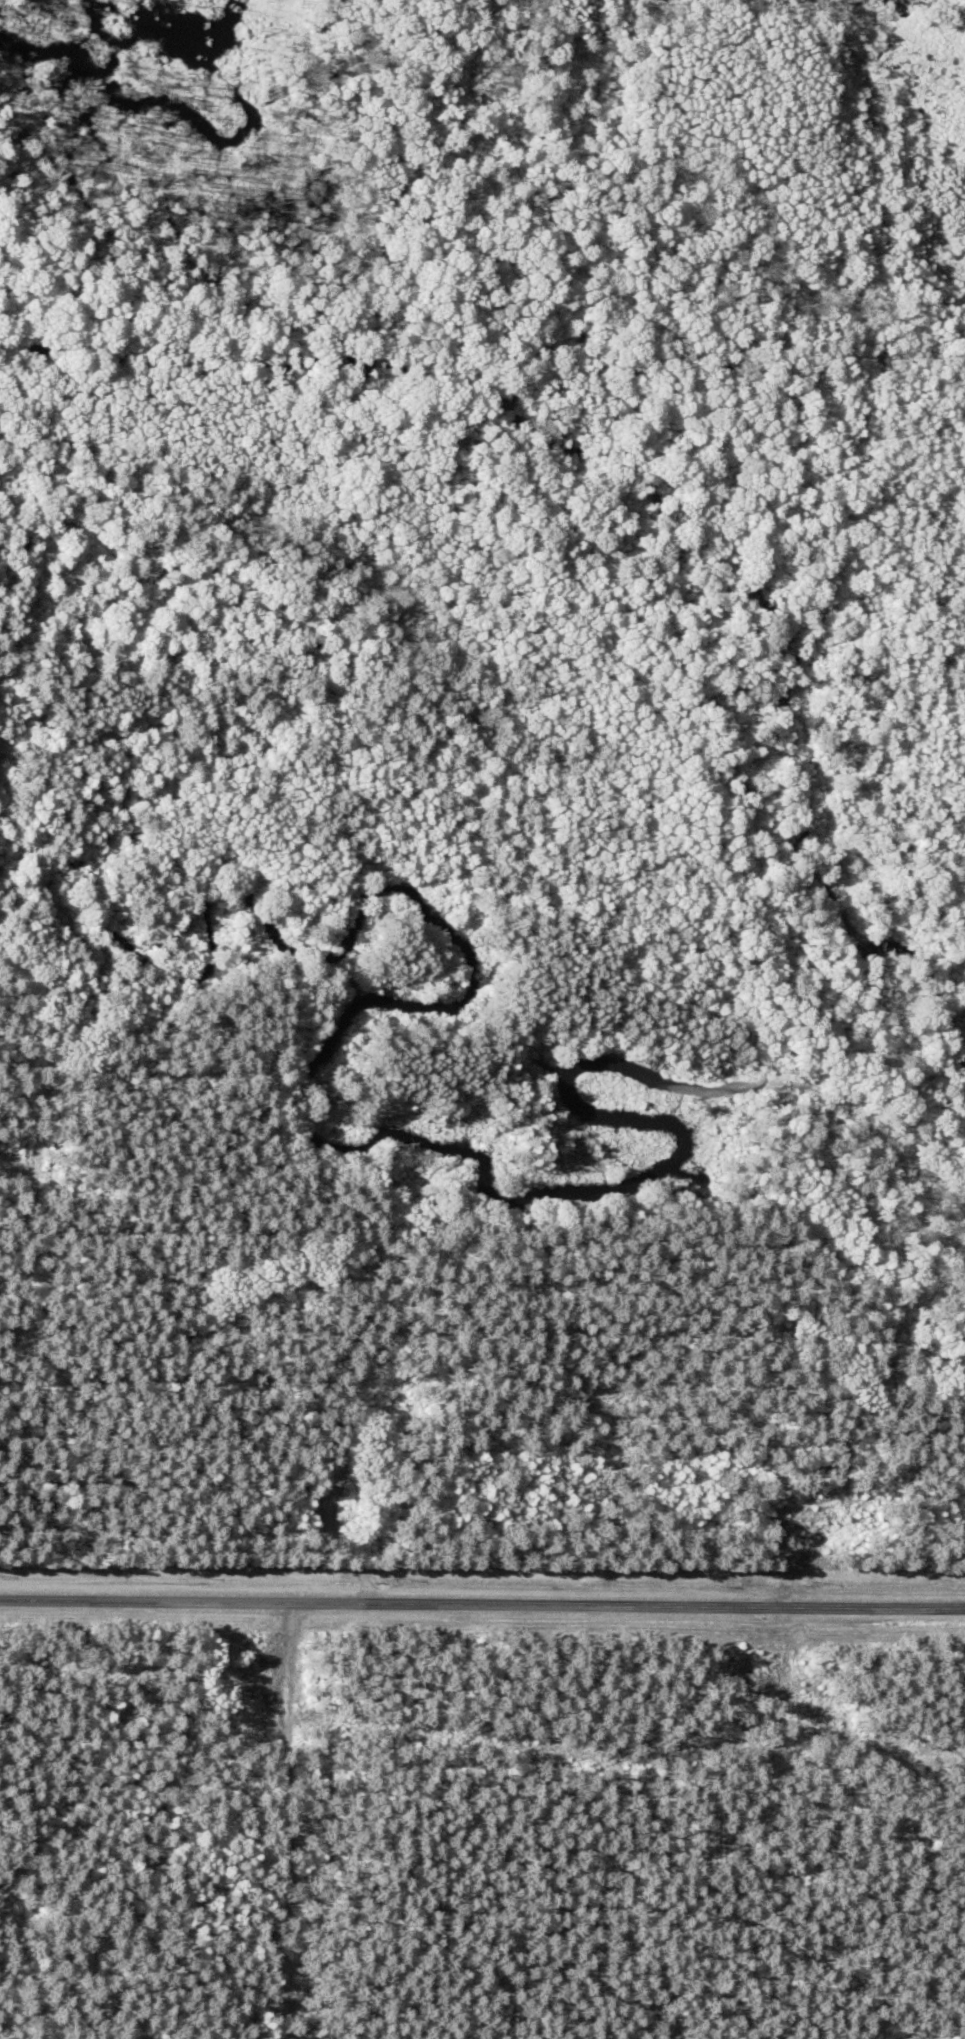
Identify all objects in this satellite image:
road: (482, 1581)

